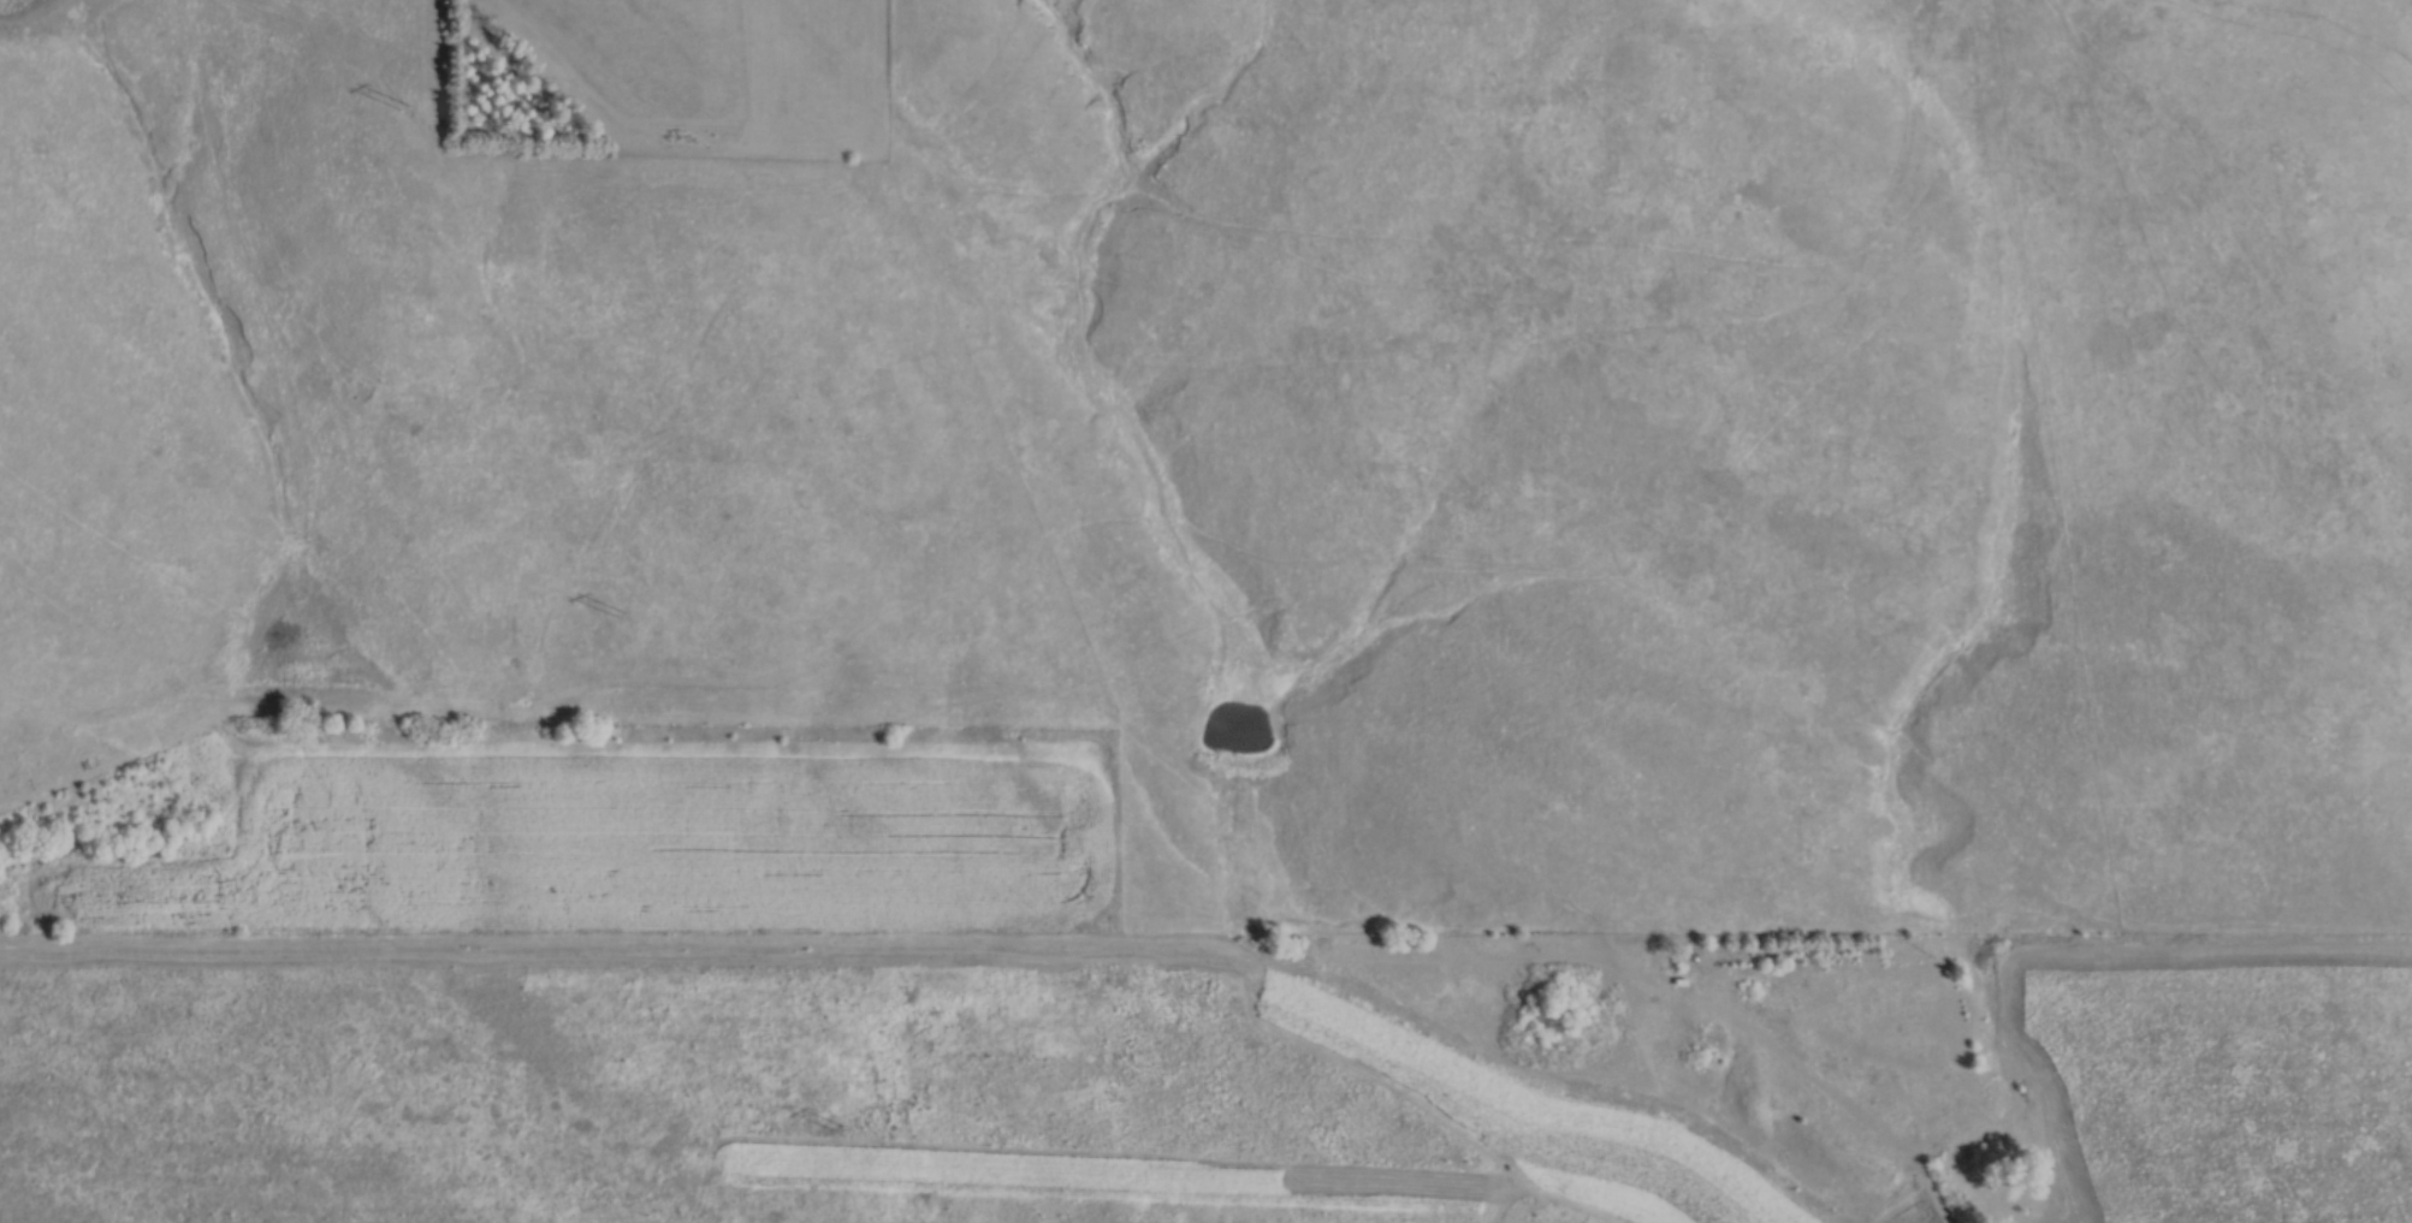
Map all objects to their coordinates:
power tower: (409, 107)
power tower: (627, 611)
power tower: (842, 1124)

